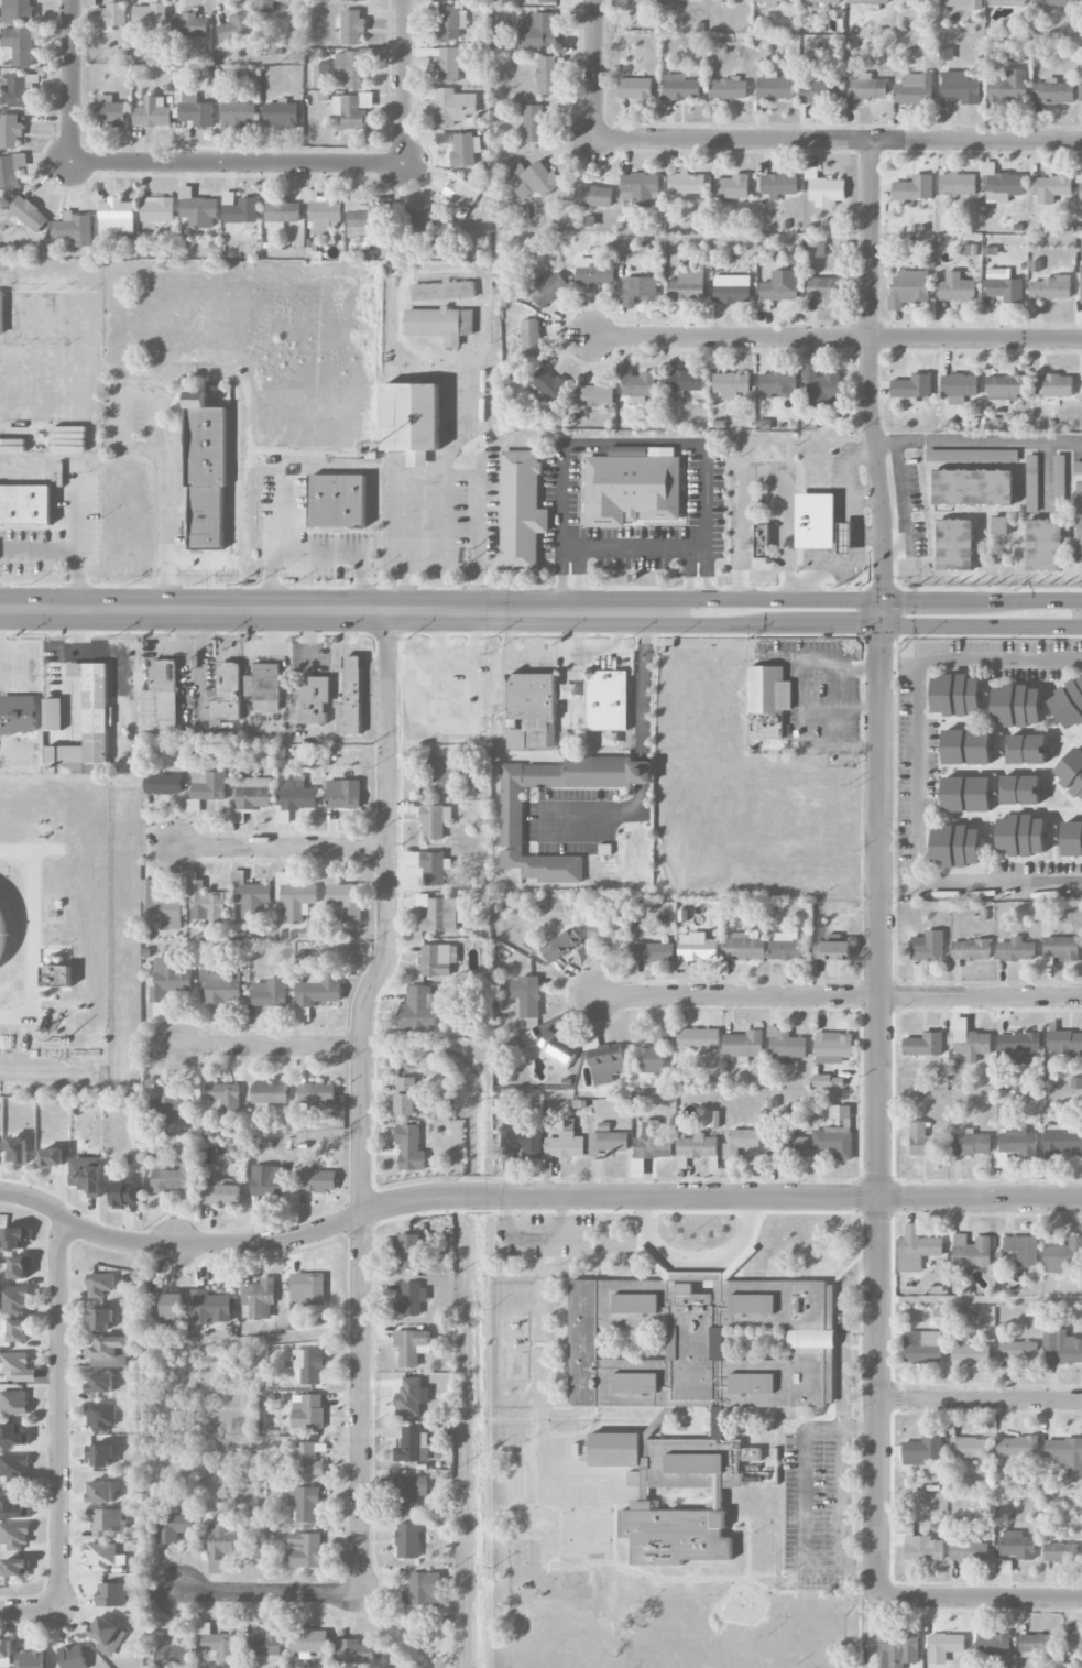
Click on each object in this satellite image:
building: (354, 0)
building: (696, 0)
building: (774, 0)
building: (933, 0)
building: (1081, 0)
building: (547, 1)
building: (820, 1)
building: (868, 2)
building: (911, 2)
building: (1006, 2)
building: (1054, 2)
building: (636, 3)
building: (961, 3)
building: (264, 6)
building: (19, 11)
building: (151, 14)
building: (109, 17)
building: (451, 22)
building: (190, 24)
building: (351, 26)
building: (236, 28)
building: (538, 32)
building: (20, 45)
building: (947, 54)
building: (450, 64)
building: (353, 66)
road: (594, 69)
building: (321, 75)
building: (547, 75)
road: (69, 79)
road: (405, 81)
building: (1009, 86)
building: (774, 87)
building: (961, 87)
building: (1081, 87)
building: (635, 88)
building: (681, 88)
building: (728, 88)
building: (867, 88)
building: (22, 89)
building: (915, 89)
building: (815, 90)
building: (1052, 91)
building: (453, 106)
building: (352, 109)
building: (108, 110)
building: (195, 110)
building: (152, 113)
building: (281, 113)
building: (238, 115)
building: (533, 123)
building: (10, 131)
road: (837, 141)
building: (466, 150)
road: (239, 163)
building: (11, 172)
building: (533, 179)
building: (1080, 182)
building: (687, 184)
building: (958, 184)
building: (1002, 184)
building: (779, 185)
building: (641, 187)
building: (732, 187)
building: (824, 188)
building: (915, 188)
building: (1050, 188)
building: (593, 196)
building: (460, 197)
building: (240, 208)
building: (157, 209)
building: (323, 211)
building: (282, 212)
building: (29, 214)
building: (117, 218)
building: (363, 219)
building: (417, 222)
building: (74, 229)
building: (817, 249)
building: (594, 271)
building: (1004, 285)
building: (1081, 285)
building: (687, 286)
building: (780, 286)
building: (545, 287)
building: (957, 287)
building: (732, 288)
building: (823, 288)
building: (909, 288)
building: (1051, 288)
building: (638, 290)
building: (442, 291)
building: (24, 313)
building: (51, 313)
building: (2, 314)
building: (439, 324)
building: (529, 337)
road: (837, 338)
building: (14, 366)
road: (214, 366)
building: (0, 367)
building: (686, 380)
building: (636, 382)
building: (547, 383)
building: (731, 384)
building: (777, 384)
building: (1054, 385)
building: (821, 386)
building: (912, 386)
building: (959, 386)
building: (1006, 386)
building: (594, 395)
building: (412, 419)
road: (624, 441)
road: (991, 444)
road: (886, 445)
building: (972, 455)
building: (1078, 467)
building: (206, 473)
road: (766, 477)
road: (1045, 479)
building: (1059, 482)
road: (476, 483)
building: (1032, 483)
building: (632, 484)
building: (974, 487)
road: (398, 501)
building: (337, 502)
road: (855, 503)
building: (25, 504)
road: (905, 505)
building: (521, 510)
building: (816, 520)
building: (1080, 522)
building: (999, 525)
building: (845, 537)
building: (762, 543)
building: (957, 544)
building: (1046, 545)
road: (636, 549)
road: (313, 553)
road: (845, 563)
traffic signals: (883, 579)
road: (739, 585)
road: (790, 587)
road: (881, 600)
traffic signals: (904, 600)
road: (341, 610)
traffic signals: (852, 624)
road: (881, 624)
traffic signals: (883, 645)
road: (70, 648)
road: (645, 682)
building: (263, 686)
road: (915, 686)
building: (769, 689)
building: (568, 691)
building: (351, 694)
building: (955, 694)
building: (226, 695)
building: (161, 696)
building: (315, 699)
building: (608, 700)
building: (1068, 702)
building: (1016, 705)
building: (532, 710)
building: (18, 713)
building: (53, 713)
building: (86, 726)
building: (966, 745)
building: (1026, 749)
road: (643, 772)
building: (1071, 772)
building: (439, 775)
building: (163, 784)
building: (206, 788)
building: (1020, 788)
building: (253, 793)
building: (968, 793)
building: (342, 794)
building: (296, 795)
road: (597, 817)
building: (512, 820)
building: (435, 821)
building: (1021, 835)
building: (1072, 838)
building: (957, 844)
road: (281, 848)
building: (434, 868)
road: (879, 868)
road: (888, 881)
road: (909, 881)
road: (1002, 881)
building: (295, 896)
building: (252, 897)
building: (346, 902)
building: (206, 904)
building: (161, 909)
building: (439, 914)
building: (1, 929)
building: (606, 931)
building: (560, 945)
building: (743, 946)
building: (928, 946)
building: (788, 947)
building: (696, 948)
building: (1061, 948)
building: (971, 949)
building: (1016, 949)
building: (832, 950)
building: (654, 951)
building: (438, 959)
building: (171, 977)
building: (56, 978)
building: (220, 985)
building: (271, 993)
building: (317, 993)
building: (529, 996)
road: (839, 997)
building: (419, 1010)
building: (699, 1039)
building: (1064, 1042)
road: (265, 1045)
building: (744, 1045)
building: (923, 1045)
building: (972, 1045)
building: (1019, 1046)
building: (785, 1047)
building: (833, 1047)
building: (554, 1048)
building: (654, 1055)
building: (606, 1064)
building: (829, 1081)
building: (1075, 1083)
building: (270, 1093)
building: (317, 1094)
building: (223, 1095)
building: (406, 1097)
road: (362, 1099)
building: (170, 1108)
building: (523, 1138)
building: (608, 1141)
building: (923, 1141)
building: (566, 1142)
building: (652, 1142)
building: (740, 1142)
building: (1062, 1142)
building: (832, 1143)
building: (972, 1143)
building: (1016, 1145)
building: (795, 1147)
building: (409, 1148)
building: (696, 1148)
building: (18, 1149)
building: (509, 1154)
building: (52, 1157)
building: (86, 1175)
building: (175, 1177)
building: (267, 1180)
building: (316, 1180)
building: (123, 1195)
building: (221, 1195)
road: (532, 1197)
building: (14, 1238)
building: (916, 1249)
building: (1023, 1250)
building: (409, 1251)
building: (972, 1251)
building: (1063, 1255)
road: (695, 1260)
building: (20, 1267)
building: (99, 1284)
building: (307, 1287)
building: (13, 1298)
building: (260, 1298)
building: (412, 1300)
building: (637, 1304)
building: (754, 1304)
building: (209, 1307)
building: (812, 1315)
building: (100, 1319)
building: (18, 1331)
road: (843, 1333)
building: (584, 1343)
building: (673, 1343)
building: (718, 1343)
building: (412, 1347)
building: (922, 1347)
building: (1061, 1348)
building: (1019, 1351)
building: (109, 1352)
building: (971, 1354)
building: (13, 1366)
building: (308, 1366)
building: (101, 1383)
building: (636, 1383)
building: (754, 1383)
road: (980, 1397)
building: (409, 1398)
building: (13, 1403)
building: (308, 1411)
road: (61, 1416)
building: (101, 1417)
building: (719, 1422)
building: (12, 1436)
building: (413, 1446)
building: (1017, 1446)
building: (970, 1448)
building: (615, 1449)
building: (922, 1450)
building: (1065, 1453)
building: (752, 1454)
building: (101, 1456)
building: (308, 1460)
building: (695, 1463)
building: (14, 1467)
building: (100, 1492)
building: (719, 1492)
building: (411, 1493)
road: (842, 1496)
road: (808, 1497)
building: (305, 1503)
building: (12, 1508)
building: (106, 1522)
building: (174, 1526)
building: (675, 1535)
building: (13, 1536)
building: (407, 1540)
building: (223, 1544)
building: (1017, 1545)
building: (923, 1548)
building: (305, 1550)
building: (969, 1550)
building: (1063, 1552)
building: (102, 1556)
building: (1004, 1567)
building: (15, 1568)
building: (424, 1589)
building: (111, 1594)
road: (267, 1594)
road: (980, 1595)
road: (31, 1613)
road: (845, 1623)
building: (108, 1636)
building: (991, 1642)
building: (1073, 1642)
building: (218, 1643)
building: (309, 1643)
building: (944, 1645)
building: (1037, 1645)
building: (267, 1646)
building: (899, 1650)
building: (170, 1651)
building: (357, 1653)
building: (6, 1654)
building: (73, 1656)
building: (32, 1658)

